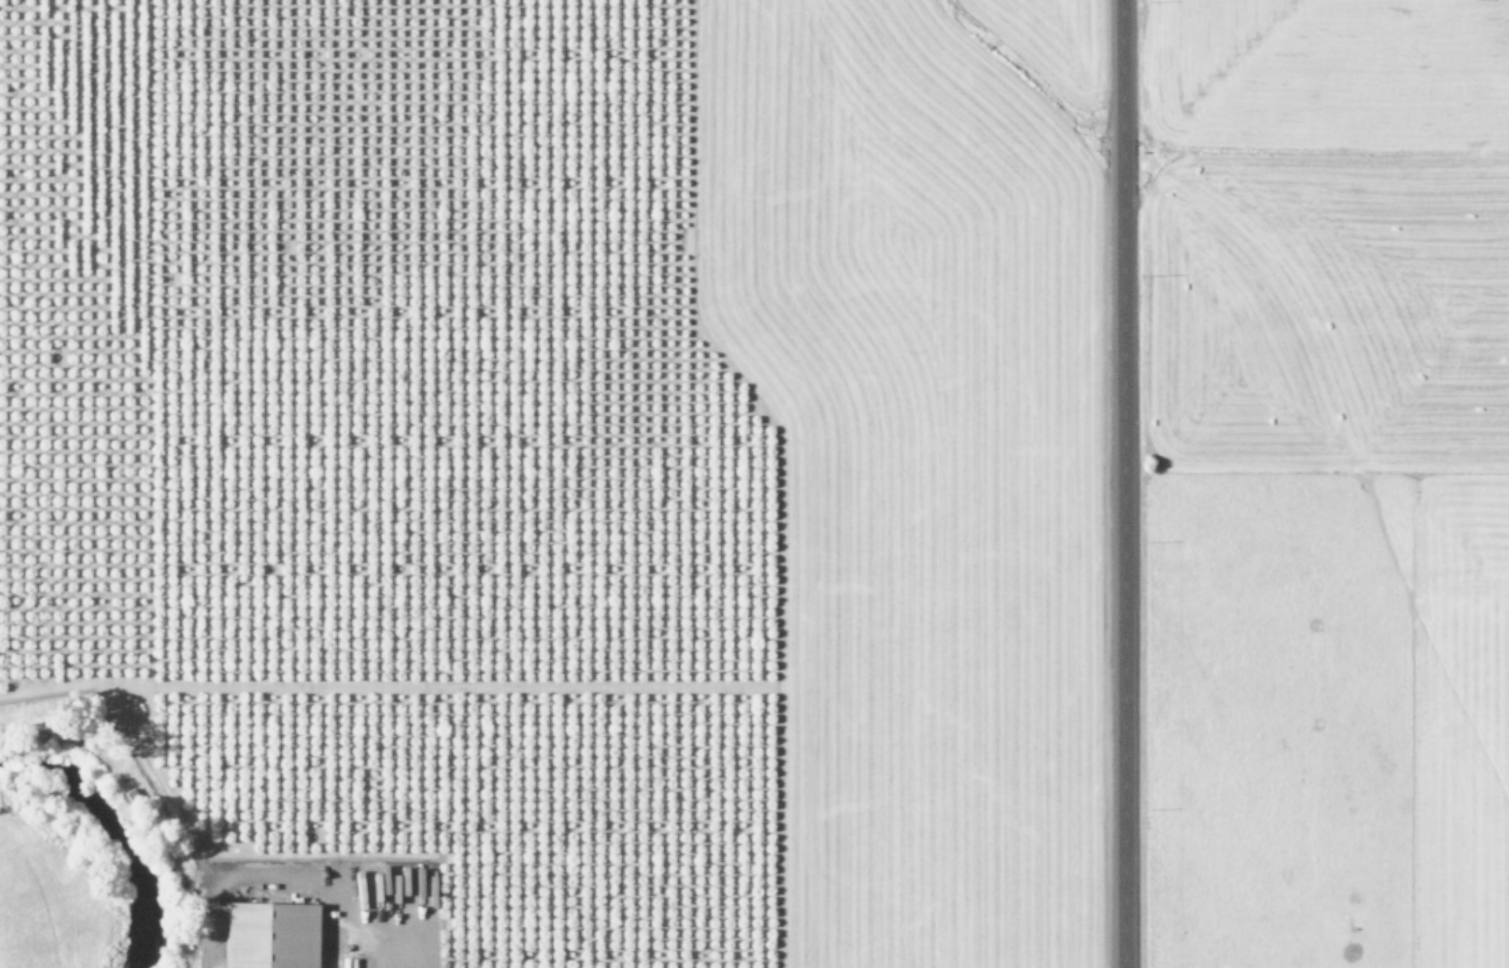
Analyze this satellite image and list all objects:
road: (1121, 484)
crop: (44, 893)
building: (413, 894)
building: (271, 934)

